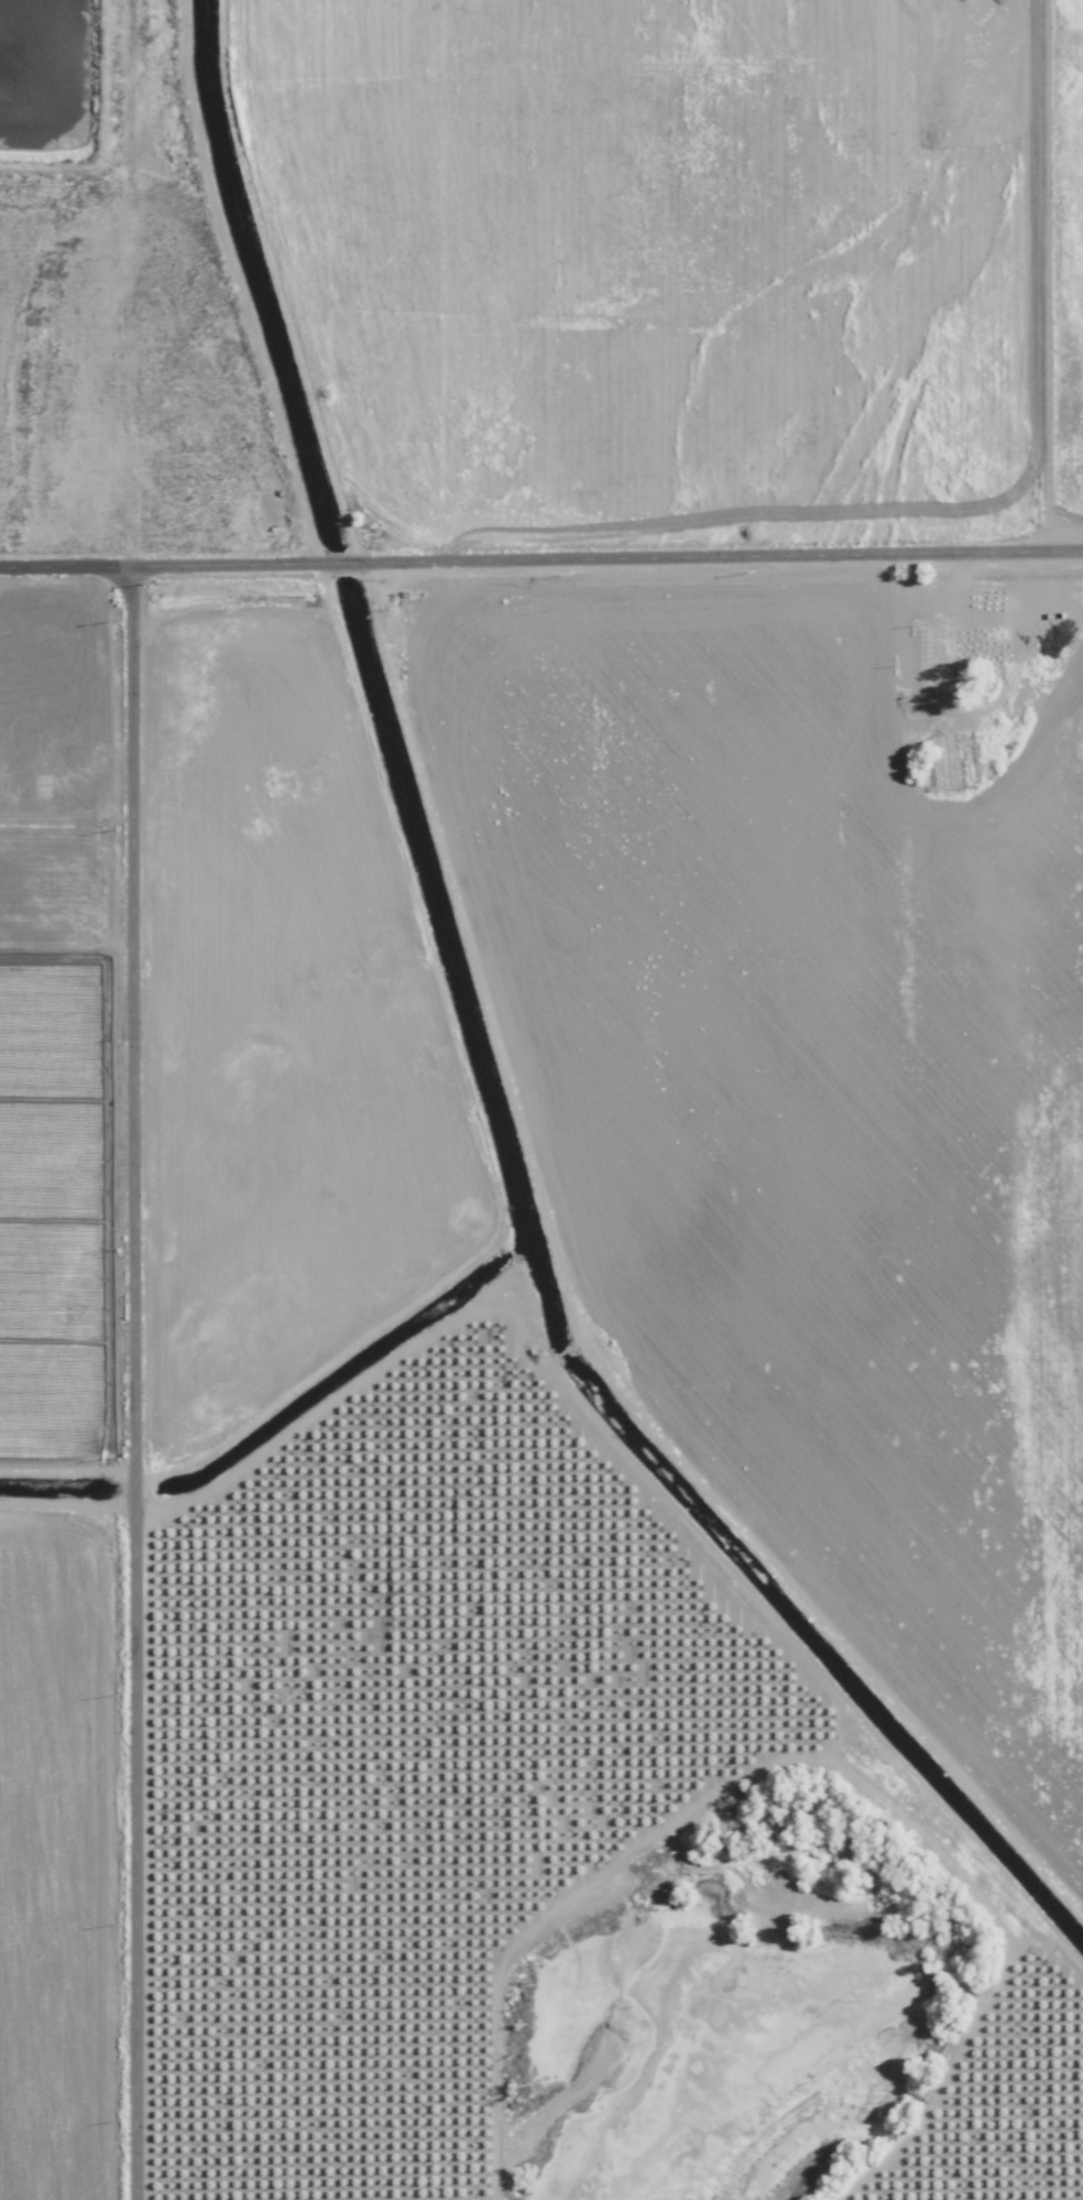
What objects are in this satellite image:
road: (540, 557)
road: (140, 1099)

